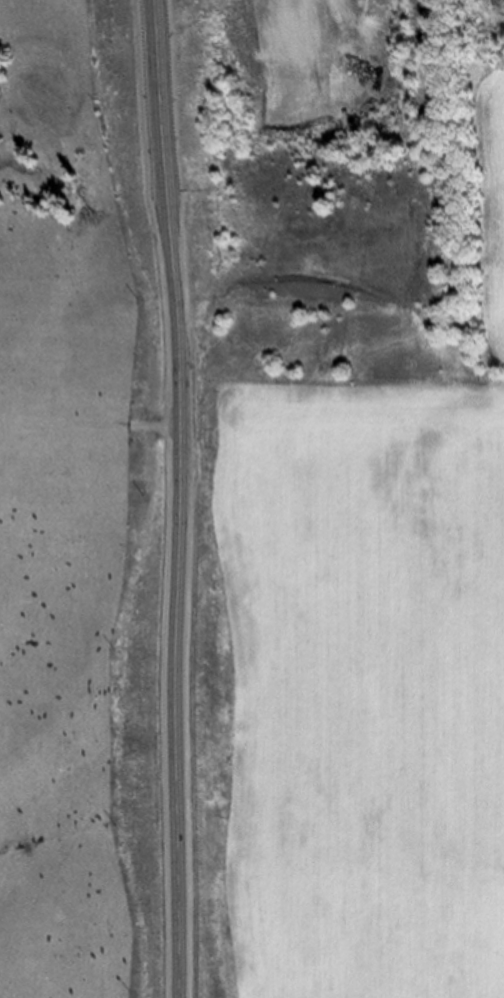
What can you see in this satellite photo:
quarry: (337, 199)
road: (183, 498)

